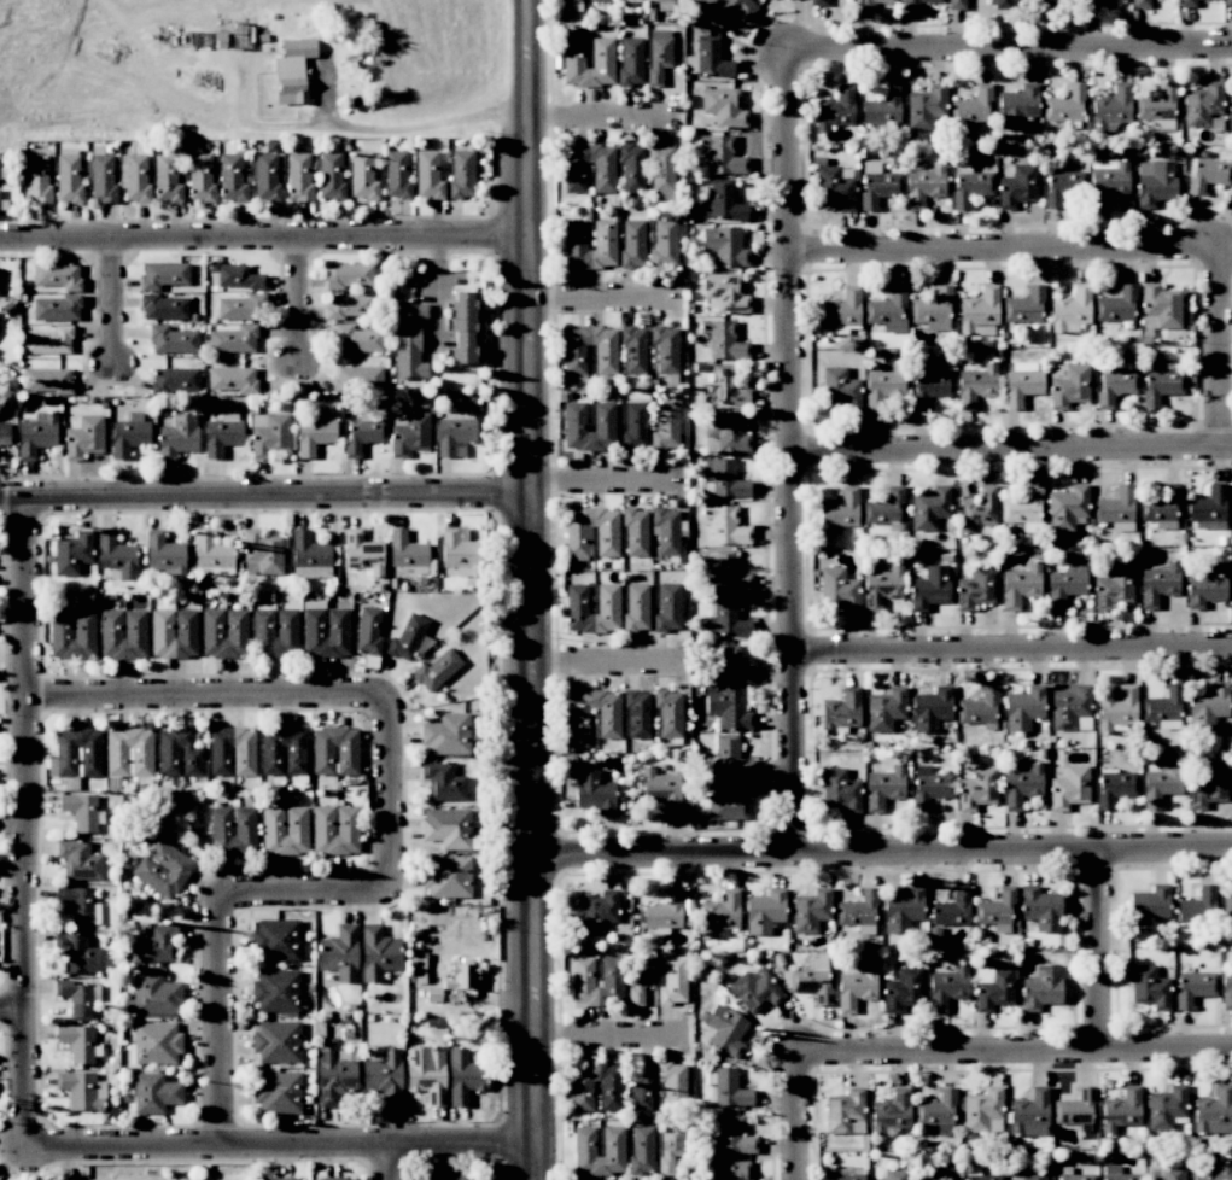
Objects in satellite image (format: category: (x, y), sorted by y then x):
building: (630, 0)
building: (787, 0)
building: (599, 1)
building: (1049, 1)
building: (817, 2)
building: (1227, 2)
building: (869, 4)
building: (915, 4)
building: (1003, 4)
building: (1096, 4)
building: (1140, 4)
building: (1186, 4)
building: (570, 5)
building: (956, 5)
building: (725, 10)
road: (1010, 49)
building: (572, 53)
building: (658, 54)
building: (708, 59)
building: (630, 60)
building: (292, 70)
building: (1064, 104)
building: (1202, 104)
building: (971, 105)
building: (882, 106)
building: (1016, 106)
building: (723, 107)
building: (924, 107)
building: (1111, 107)
building: (835, 109)
building: (1157, 109)
building: (1230, 112)
road: (595, 123)
road: (405, 127)
building: (722, 154)
building: (631, 168)
building: (660, 168)
building: (461, 174)
building: (68, 175)
building: (101, 175)
building: (396, 175)
building: (427, 175)
building: (134, 176)
building: (298, 176)
building: (331, 176)
building: (362, 176)
building: (165, 177)
building: (200, 177)
building: (265, 177)
building: (574, 177)
building: (36, 179)
building: (232, 179)
building: (1107, 181)
building: (1154, 182)
building: (877, 185)
building: (923, 185)
building: (969, 186)
building: (1017, 186)
building: (1063, 186)
building: (834, 188)
building: (722, 201)
building: (603, 234)
road: (259, 240)
building: (664, 243)
building: (632, 244)
building: (724, 246)
road: (1009, 252)
building: (57, 275)
building: (163, 275)
building: (348, 275)
building: (233, 276)
road: (436, 291)
building: (723, 293)
road: (597, 299)
road: (302, 300)
road: (117, 303)
building: (348, 305)
building: (1024, 305)
building: (1116, 305)
building: (57, 308)
building: (164, 308)
building: (240, 308)
building: (1160, 308)
building: (979, 309)
building: (840, 310)
building: (888, 310)
building: (933, 310)
building: (1070, 310)
building: (462, 327)
building: (233, 339)
building: (356, 339)
building: (48, 340)
building: (171, 340)
building: (408, 340)
building: (724, 340)
building: (665, 349)
building: (632, 350)
road: (1222, 350)
building: (605, 360)
building: (357, 378)
building: (230, 379)
building: (46, 380)
building: (174, 380)
building: (1160, 382)
building: (1021, 384)
building: (1114, 384)
building: (929, 385)
building: (1068, 385)
building: (882, 386)
building: (975, 386)
building: (725, 387)
building: (839, 389)
building: (573, 416)
building: (633, 425)
building: (665, 425)
building: (4, 430)
building: (454, 432)
building: (726, 432)
building: (221, 433)
building: (268, 433)
building: (408, 433)
building: (35, 434)
building: (128, 434)
building: (177, 436)
building: (314, 436)
building: (362, 436)
building: (83, 437)
road: (798, 451)
road: (1015, 452)
building: (724, 478)
road: (599, 481)
road: (275, 500)
road: (12, 501)
building: (1022, 507)
building: (1067, 507)
building: (883, 508)
building: (929, 508)
building: (1161, 508)
building: (1208, 508)
building: (1231, 508)
building: (840, 509)
building: (976, 509)
building: (1116, 509)
building: (725, 526)
building: (667, 531)
building: (635, 532)
building: (577, 542)
building: (460, 550)
building: (211, 551)
building: (262, 551)
building: (71, 553)
building: (362, 553)
building: (407, 553)
building: (116, 555)
building: (164, 555)
building: (309, 556)
building: (723, 569)
building: (1064, 583)
building: (1157, 584)
building: (1020, 585)
building: (1111, 585)
building: (1205, 585)
building: (881, 588)
building: (929, 588)
building: (975, 588)
road: (529, 589)
building: (837, 589)
building: (607, 598)
building: (636, 607)
building: (667, 608)
building: (725, 619)
building: (325, 630)
building: (368, 630)
building: (173, 632)
building: (223, 632)
building: (274, 632)
building: (71, 633)
building: (123, 633)
building: (409, 638)
road: (1014, 654)
road: (601, 664)
building: (728, 665)
building: (436, 671)
road: (208, 694)
building: (1208, 705)
building: (1070, 706)
building: (729, 708)
building: (979, 708)
building: (1022, 708)
building: (1162, 708)
building: (884, 709)
building: (930, 709)
building: (1117, 709)
building: (840, 711)
building: (668, 712)
building: (637, 714)
building: (608, 723)
building: (446, 734)
building: (334, 750)
building: (128, 752)
building: (230, 752)
building: (282, 752)
building: (77, 753)
building: (177, 753)
building: (728, 757)
building: (442, 782)
building: (1161, 782)
building: (1022, 784)
building: (929, 787)
building: (1115, 787)
building: (1208, 787)
building: (883, 788)
building: (977, 788)
building: (1069, 788)
building: (660, 790)
building: (840, 790)
building: (594, 791)
road: (387, 794)
building: (729, 800)
building: (80, 811)
road: (28, 826)
building: (446, 828)
building: (334, 829)
building: (232, 830)
building: (284, 830)
road: (881, 851)
building: (78, 860)
building: (162, 868)
building: (446, 876)
road: (304, 895)
building: (77, 905)
building: (1149, 907)
building: (1196, 907)
building: (952, 909)
building: (1040, 909)
building: (810, 910)
building: (901, 910)
building: (764, 911)
building: (995, 911)
building: (597, 912)
building: (664, 912)
building: (857, 913)
building: (719, 915)
building: (275, 940)
building: (158, 942)
building: (339, 953)
building: (376, 953)
road: (1104, 953)
building: (77, 954)
building: (582, 971)
building: (641, 976)
building: (461, 977)
building: (812, 980)
building: (672, 981)
building: (947, 987)
building: (993, 987)
building: (1149, 987)
building: (856, 988)
building: (1041, 988)
building: (1192, 988)
building: (755, 989)
building: (903, 989)
building: (1226, 989)
building: (275, 991)
building: (151, 994)
building: (77, 998)
road: (13, 1012)
road: (222, 1021)
building: (724, 1029)
road: (605, 1035)
building: (276, 1041)
building: (77, 1042)
building: (156, 1042)
road: (1016, 1056)
building: (426, 1074)
building: (384, 1076)
building: (463, 1076)
building: (672, 1085)
building: (726, 1087)
building: (642, 1088)
building: (81, 1090)
building: (276, 1092)
building: (153, 1093)
building: (609, 1096)
building: (1074, 1108)
building: (1166, 1109)
building: (1120, 1110)
building: (845, 1111)
building: (891, 1111)
building: (982, 1111)
building: (1214, 1111)
building: (939, 1112)
building: (1029, 1114)
road: (801, 1118)
building: (732, 1135)
building: (583, 1141)
road: (281, 1146)
building: (668, 1146)
building: (641, 1149)
road: (391, 1163)
building: (730, 1170)
building: (840, 1173)
building: (934, 1173)
building: (1164, 1173)
building: (1213, 1173)
building: (894, 1174)
building: (976, 1174)
building: (1027, 1174)
building: (1116, 1174)
building: (443, 1175)
building: (1073, 1175)
building: (279, 1179)
building: (334, 1179)

